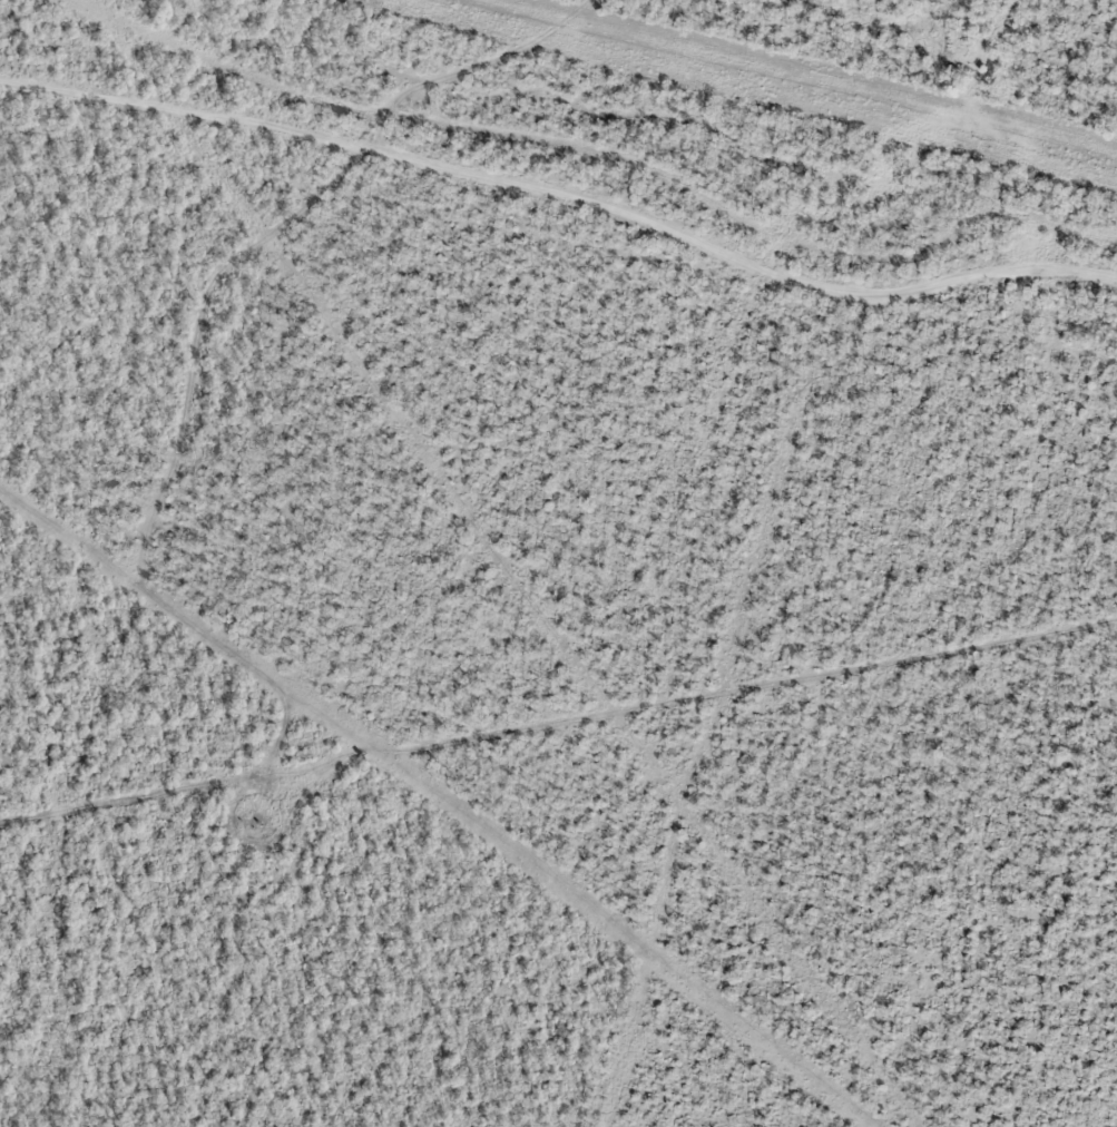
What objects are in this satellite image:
road: (617, 149)

